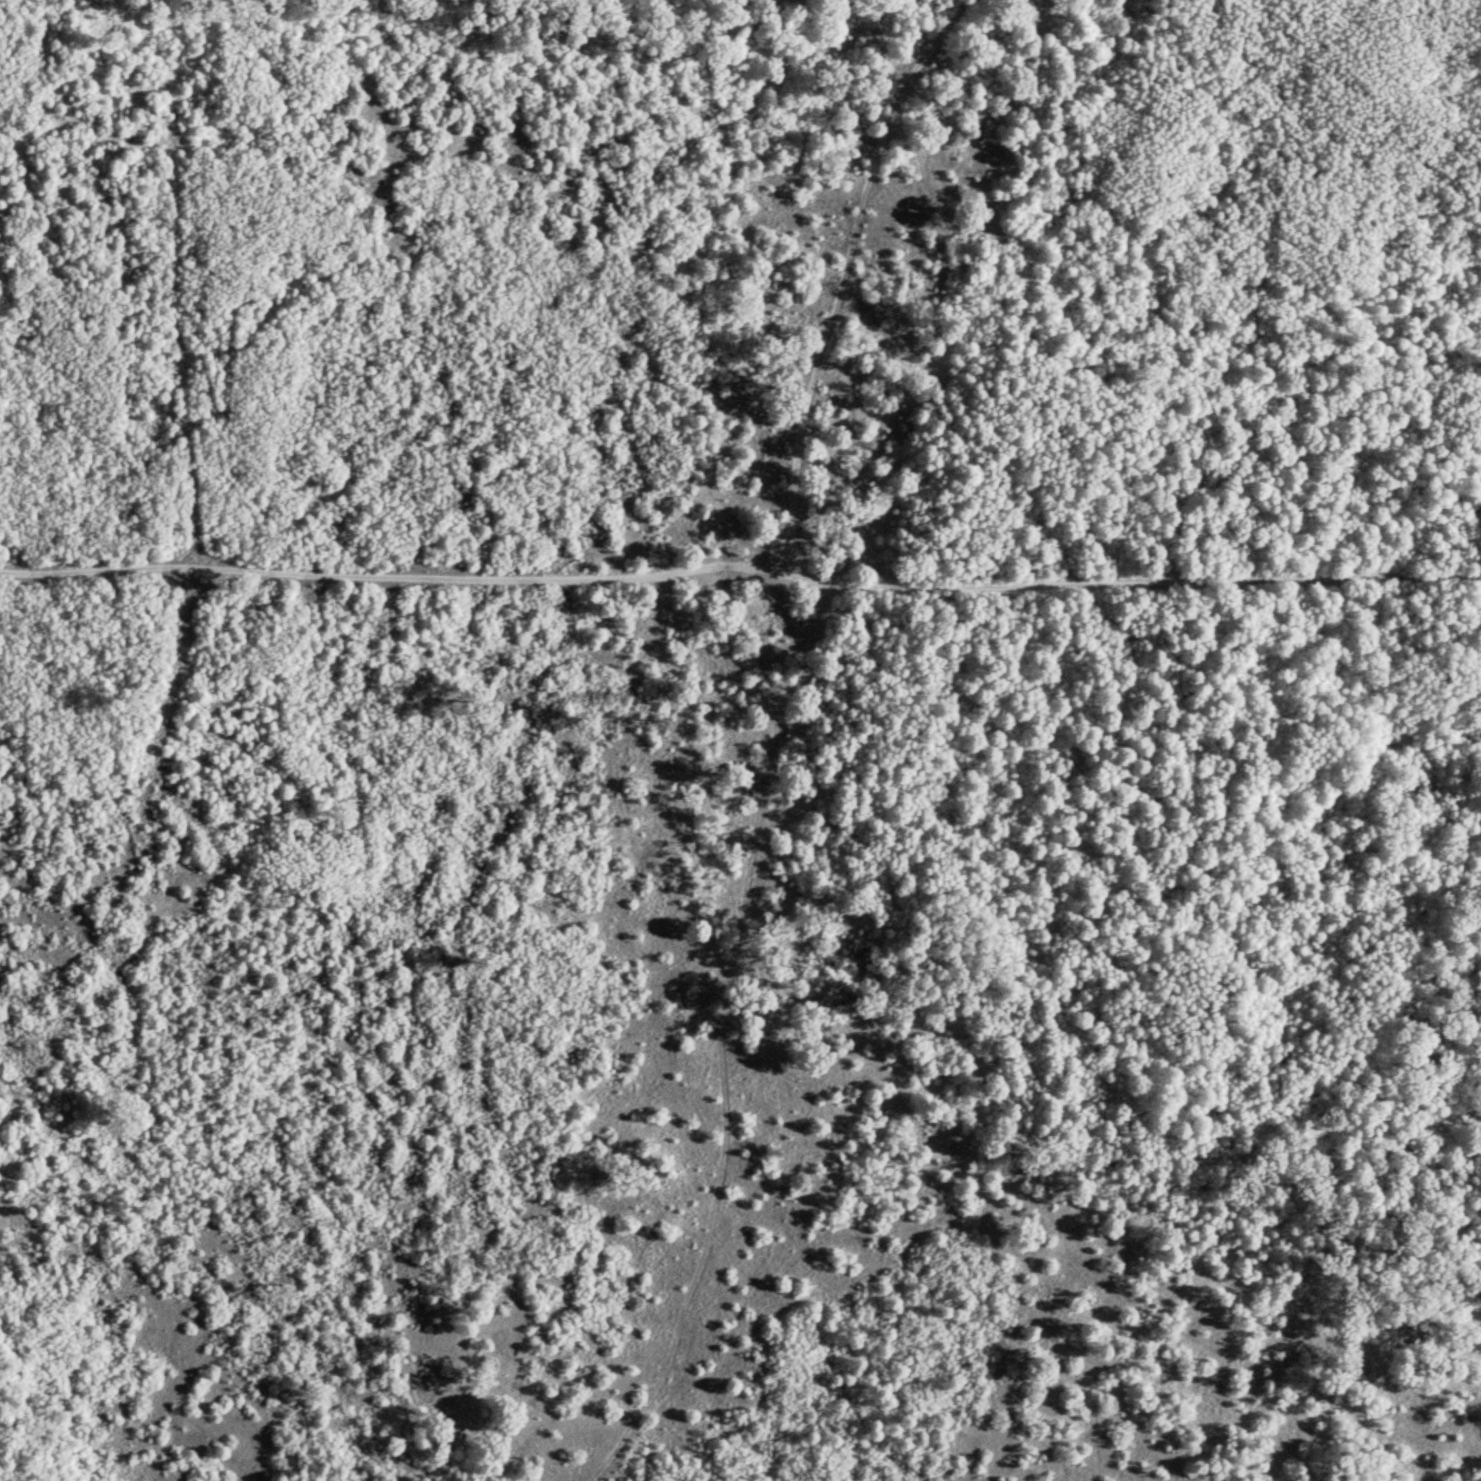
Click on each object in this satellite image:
road: (847, 270)
road: (744, 566)

